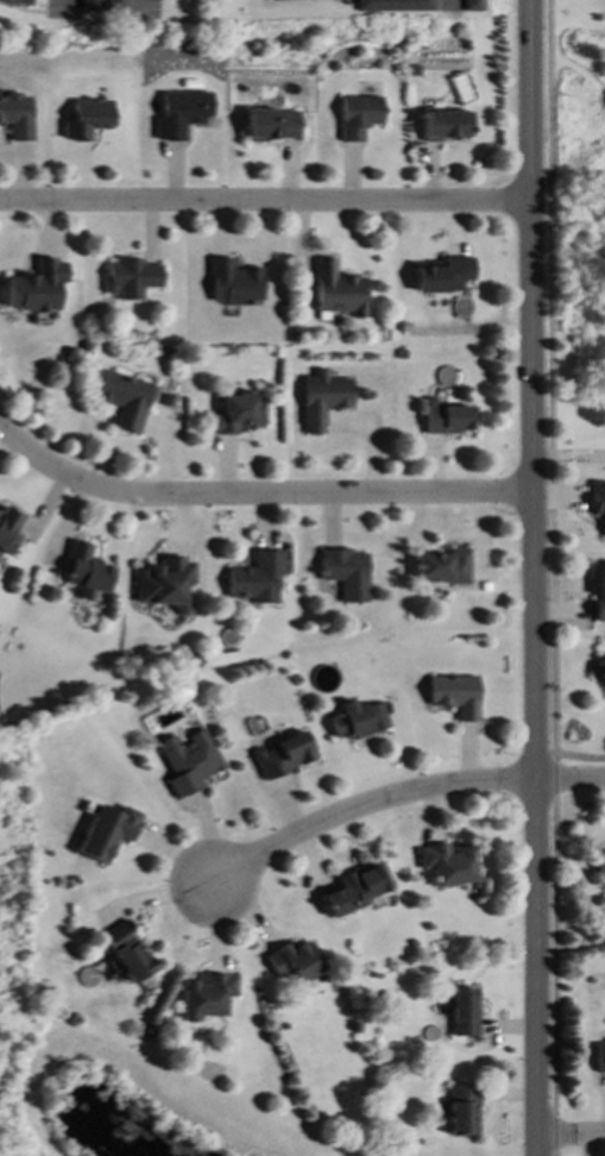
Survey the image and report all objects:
road: (134, 0)
building: (17, 2)
building: (113, 4)
road: (69, 5)
building: (88, 5)
building: (469, 5)
building: (390, 6)
building: (181, 113)
building: (15, 115)
building: (358, 115)
building: (86, 119)
building: (271, 124)
building: (443, 125)
park: (588, 170)
road: (264, 201)
building: (442, 275)
building: (127, 278)
building: (231, 283)
building: (33, 287)
building: (335, 291)
building: (122, 400)
building: (321, 400)
building: (234, 414)
building: (445, 417)
road: (256, 495)
building: (597, 502)
building: (7, 529)
building: (441, 566)
building: (83, 572)
building: (344, 573)
building: (254, 578)
road: (531, 578)
road: (550, 578)
building: (163, 584)
building: (598, 593)
building: (599, 676)
building: (452, 695)
building: (355, 720)
building: (281, 755)
road: (578, 755)
building: (187, 762)
road: (568, 781)
road: (365, 805)
building: (106, 831)
building: (445, 863)
building: (598, 868)
building: (353, 890)
building: (125, 951)
building: (292, 961)
building: (203, 995)
building: (461, 1011)
building: (599, 1057)
building: (459, 1108)
road: (569, 1137)

